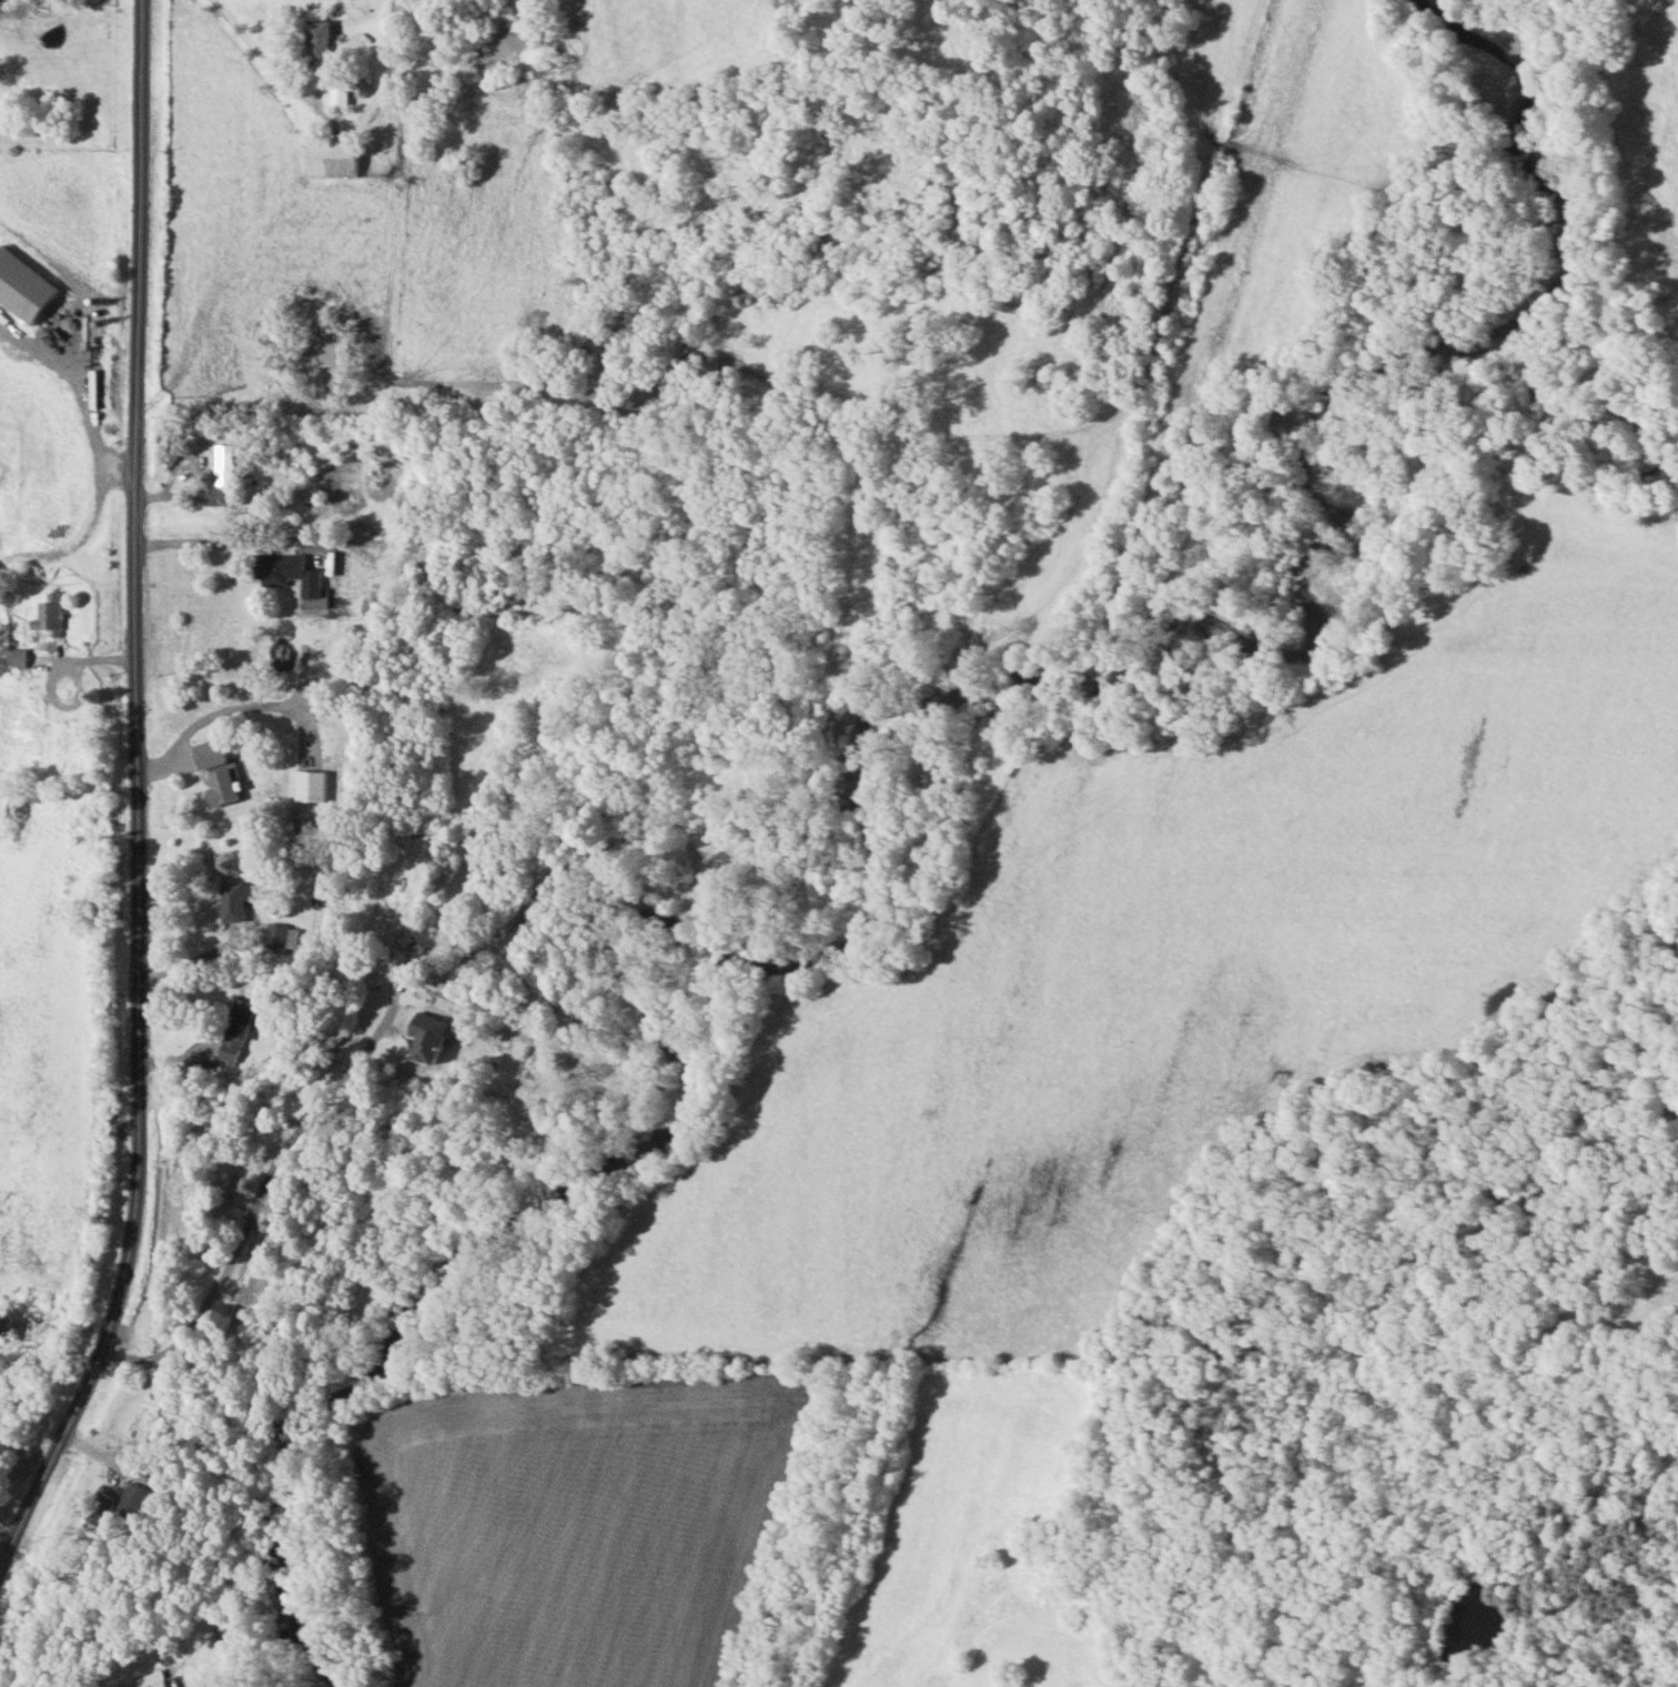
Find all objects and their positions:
road: (6, 1)
building: (317, 43)
road: (264, 54)
building: (340, 94)
building: (333, 158)
building: (223, 481)
road: (229, 552)
building: (286, 574)
building: (509, 598)
building: (52, 617)
building: (216, 775)
building: (312, 789)
road: (145, 808)
building: (235, 902)
building: (284, 938)
building: (392, 971)
road: (219, 972)
building: (404, 1012)
building: (240, 1023)
building: (138, 1504)
building: (102, 1509)
building: (162, 1685)

